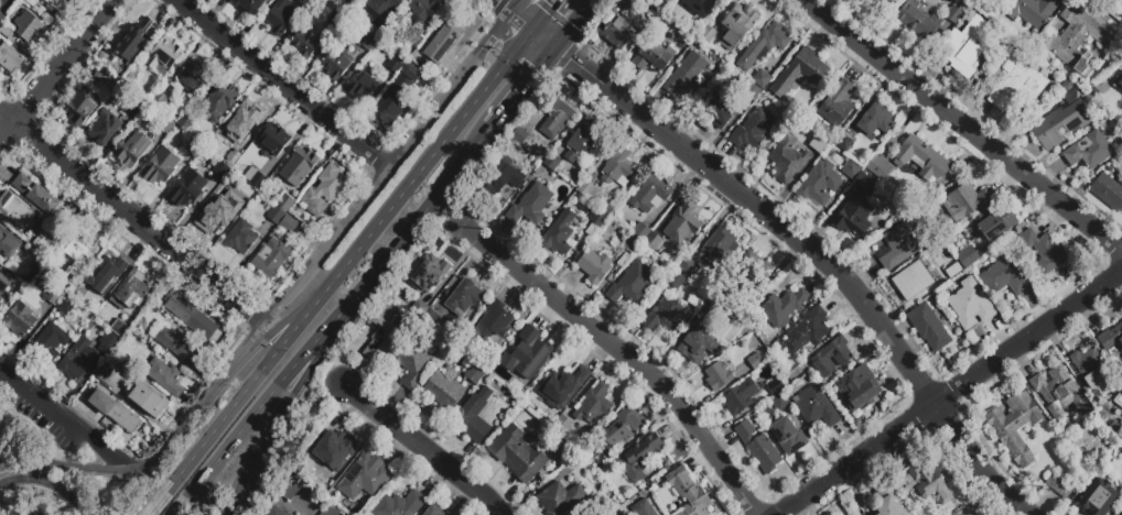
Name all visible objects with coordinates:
building: (360, 0)
building: (870, 0)
building: (996, 0)
building: (31, 2)
building: (635, 2)
building: (313, 3)
building: (885, 3)
building: (57, 4)
building: (249, 6)
road: (501, 6)
road: (515, 6)
building: (384, 7)
traffic signals: (551, 7)
building: (697, 8)
building: (423, 10)
building: (1032, 12)
building: (956, 13)
road: (544, 15)
building: (282, 17)
building: (657, 17)
building: (1, 18)
building: (918, 20)
road: (521, 21)
traffic signals: (524, 23)
road: (571, 23)
building: (999, 23)
building: (737, 25)
building: (30, 26)
building: (6, 31)
building: (615, 31)
road: (508, 35)
building: (708, 35)
building: (136, 39)
building: (444, 39)
traffic signals: (508, 39)
road: (543, 39)
building: (1077, 39)
building: (367, 42)
building: (418, 43)
building: (305, 44)
road: (483, 44)
building: (764, 45)
building: (964, 46)
building: (163, 56)
building: (650, 57)
traffic signals: (571, 59)
building: (11, 61)
building: (336, 62)
building: (396, 64)
road: (503, 65)
traffic signals: (536, 69)
road: (583, 69)
building: (410, 70)
road: (56, 73)
building: (687, 74)
building: (799, 75)
building: (193, 77)
building: (99, 79)
building: (762, 79)
building: (130, 80)
building: (1119, 83)
road: (282, 84)
building: (360, 85)
road: (522, 86)
building: (1016, 86)
building: (752, 94)
building: (219, 101)
building: (160, 102)
building: (390, 102)
building: (839, 103)
building: (139, 106)
building: (79, 107)
building: (719, 109)
building: (557, 119)
building: (533, 120)
building: (876, 120)
building: (244, 122)
building: (185, 123)
road: (424, 124)
building: (1060, 125)
building: (166, 127)
building: (104, 129)
building: (751, 129)
road: (961, 130)
building: (273, 140)
road: (672, 140)
building: (845, 142)
road: (442, 143)
building: (818, 144)
building: (582, 145)
building: (193, 147)
building: (131, 150)
building: (1089, 150)
building: (787, 158)
building: (921, 158)
building: (233, 160)
building: (550, 162)
road: (464, 163)
building: (160, 166)
building: (299, 166)
building: (616, 167)
building: (877, 167)
building: (851, 169)
building: (220, 171)
building: (252, 176)
building: (503, 179)
building: (820, 183)
building: (864, 185)
building: (223, 187)
building: (187, 189)
building: (324, 190)
building: (587, 190)
building: (248, 191)
building: (1107, 191)
building: (651, 194)
building: (39, 196)
building: (285, 201)
building: (964, 201)
building: (530, 206)
building: (17, 211)
building: (214, 213)
building: (602, 213)
building: (276, 215)
building: (854, 217)
road: (131, 218)
road: (348, 222)
building: (682, 223)
building: (288, 224)
building: (993, 224)
building: (315, 227)
building: (641, 231)
road: (370, 234)
building: (560, 234)
building: (240, 237)
building: (654, 241)
building: (902, 242)
building: (8, 243)
building: (632, 243)
building: (41, 245)
building: (718, 250)
building: (82, 252)
building: (1044, 252)
road: (392, 255)
building: (968, 256)
building: (271, 257)
building: (594, 265)
building: (40, 266)
building: (688, 269)
building: (0, 270)
building: (755, 271)
building: (430, 273)
building: (48, 274)
building: (107, 275)
building: (914, 275)
building: (1004, 277)
building: (677, 281)
road: (849, 281)
building: (632, 283)
building: (130, 292)
building: (54, 296)
building: (464, 297)
building: (970, 304)
building: (709, 305)
building: (68, 306)
building: (783, 307)
building: (153, 308)
building: (418, 309)
building: (741, 313)
building: (191, 316)
building: (667, 316)
building: (19, 320)
road: (263, 321)
building: (434, 321)
building: (493, 325)
building: (928, 327)
building: (118, 328)
road: (279, 328)
building: (808, 331)
building: (381, 336)
road: (326, 337)
road: (1031, 337)
building: (1110, 338)
building: (51, 341)
building: (697, 346)
building: (180, 347)
building: (528, 353)
road: (625, 353)
building: (86, 358)
building: (114, 358)
building: (832, 358)
building: (730, 359)
building: (413, 363)
building: (756, 365)
building: (1090, 368)
building: (104, 373)
building: (474, 374)
building: (498, 374)
building: (165, 376)
building: (719, 379)
building: (1121, 382)
building: (496, 387)
building: (561, 387)
building: (776, 387)
building: (856, 388)
building: (1111, 390)
building: (444, 391)
building: (1059, 393)
building: (741, 396)
building: (147, 398)
road: (240, 399)
building: (1118, 399)
building: (780, 402)
road: (44, 404)
building: (594, 404)
building: (816, 407)
building: (116, 412)
building: (474, 417)
parking lot: (35, 419)
building: (1098, 419)
road: (15, 425)
building: (563, 425)
road: (187, 426)
building: (1015, 426)
building: (499, 427)
building: (623, 428)
building: (1107, 429)
building: (1116, 429)
road: (237, 436)
building: (787, 436)
road: (267, 438)
park: (35, 441)
building: (758, 447)
road: (423, 448)
building: (518, 453)
building: (331, 456)
road: (112, 457)
building: (639, 457)
building: (597, 458)
road: (860, 459)
road: (980, 462)
road: (69, 468)
building: (364, 476)
road: (47, 483)
building: (926, 485)
building: (1059, 486)
building: (291, 489)
building: (688, 492)
building: (643, 493)
building: (1098, 496)
building: (560, 498)
building: (400, 504)
building: (891, 504)
building: (643, 508)
building: (331, 511)
building: (433, 511)
building: (276, 512)

